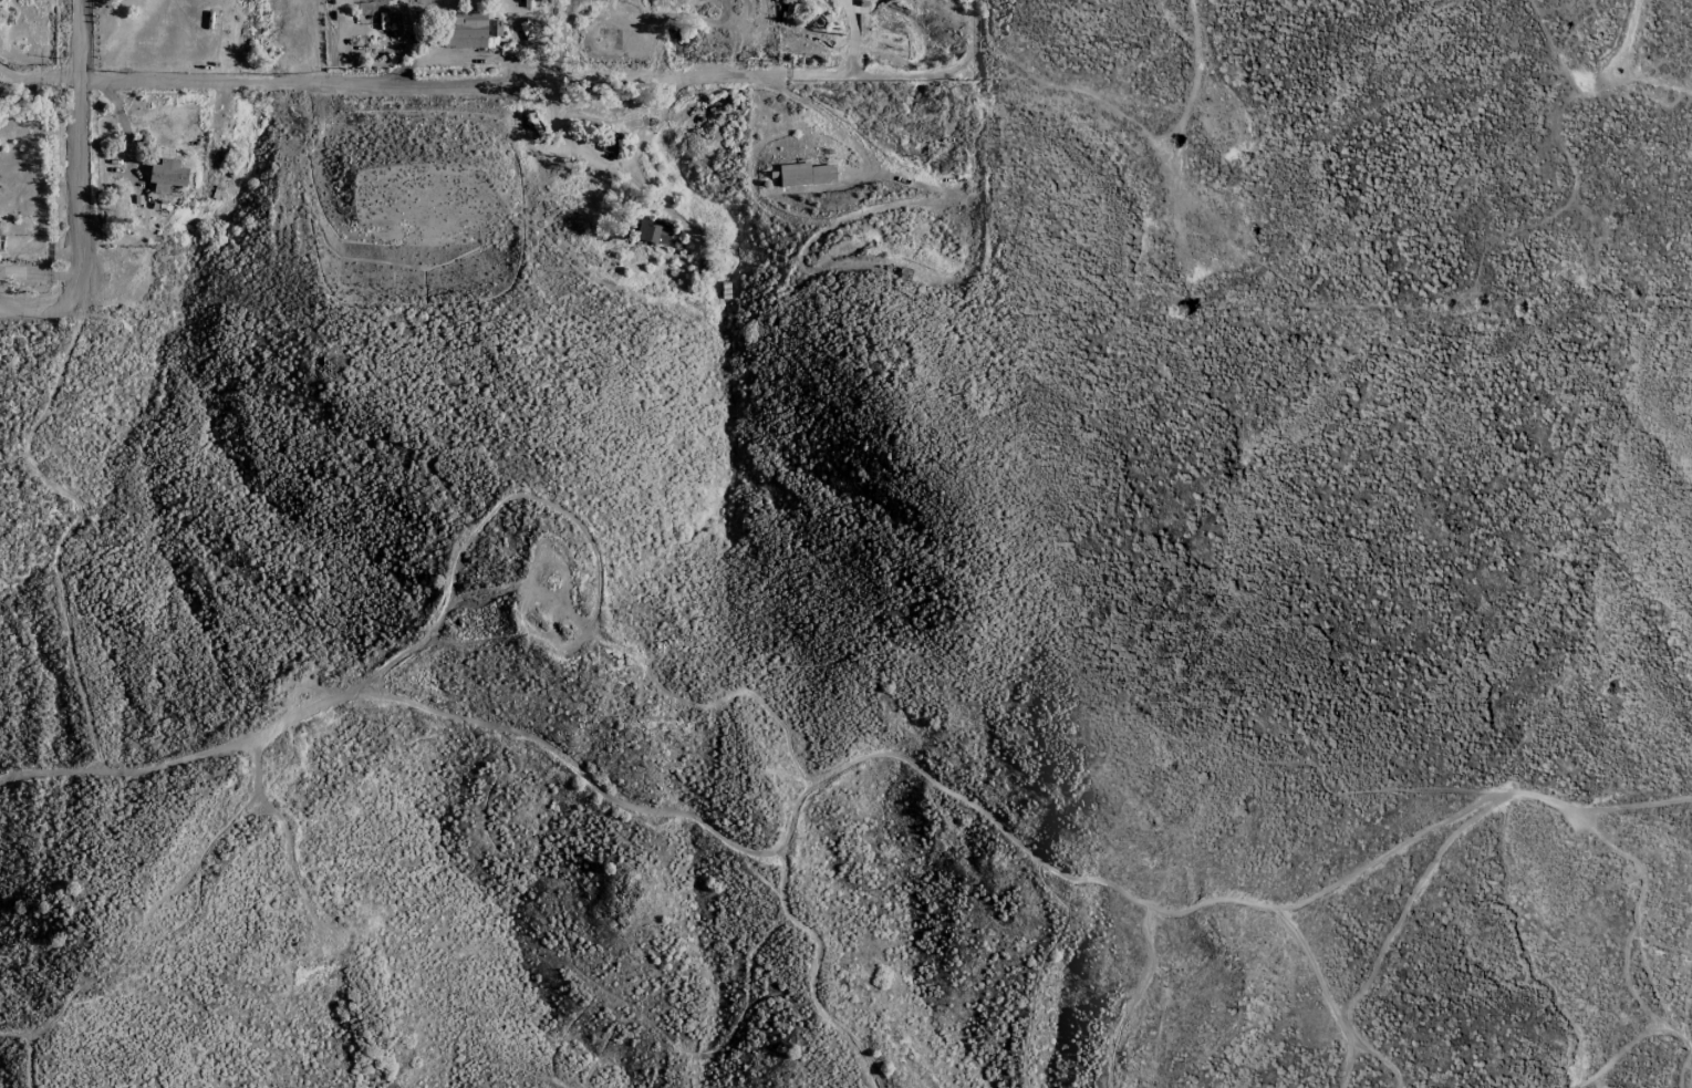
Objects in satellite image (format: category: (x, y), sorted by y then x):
building: (786, 12)
building: (467, 22)
road: (1629, 29)
road: (561, 37)
road: (1202, 55)
road: (848, 62)
road: (9, 76)
road: (33, 82)
road: (427, 85)
road: (841, 124)
road: (68, 151)
building: (803, 174)
building: (166, 175)
building: (651, 230)
road: (35, 274)
road: (37, 302)
road: (851, 773)
road: (1378, 957)
road: (1622, 1038)
road: (1685, 1060)

